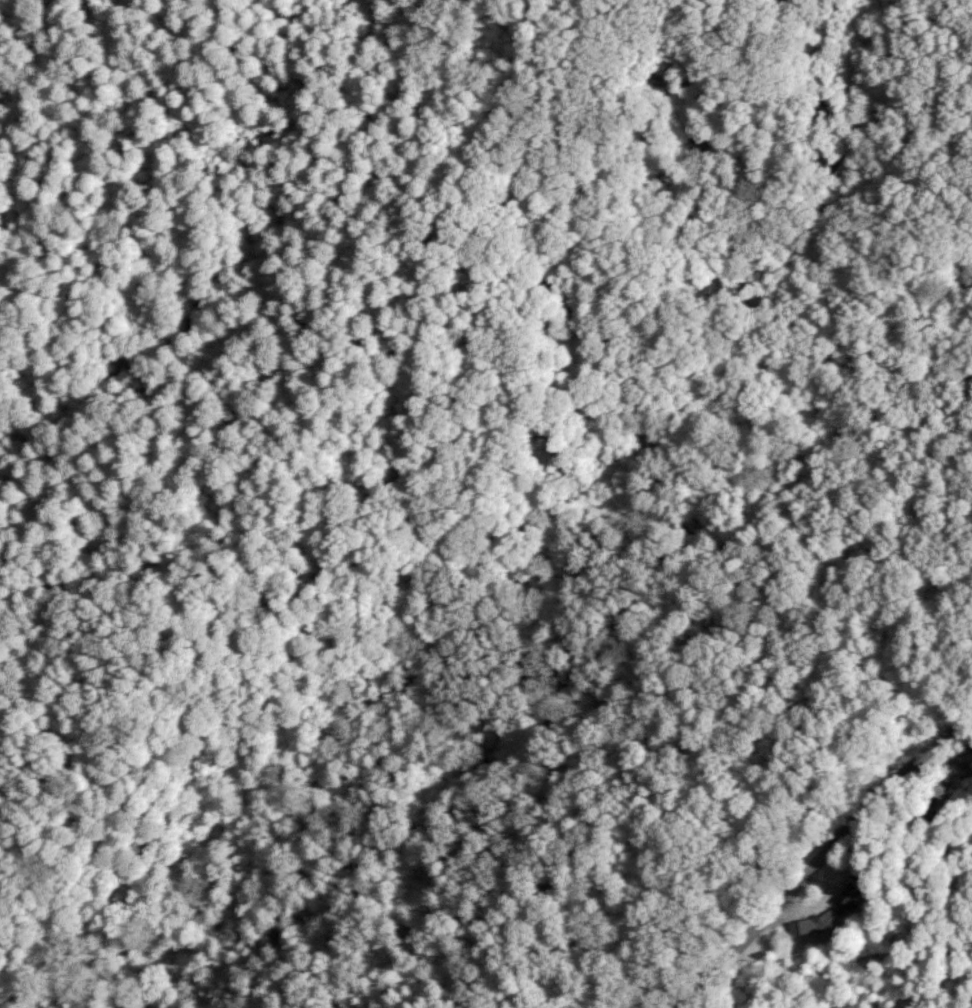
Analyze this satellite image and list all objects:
road: (820, 852)
building: (852, 893)
building: (814, 925)

